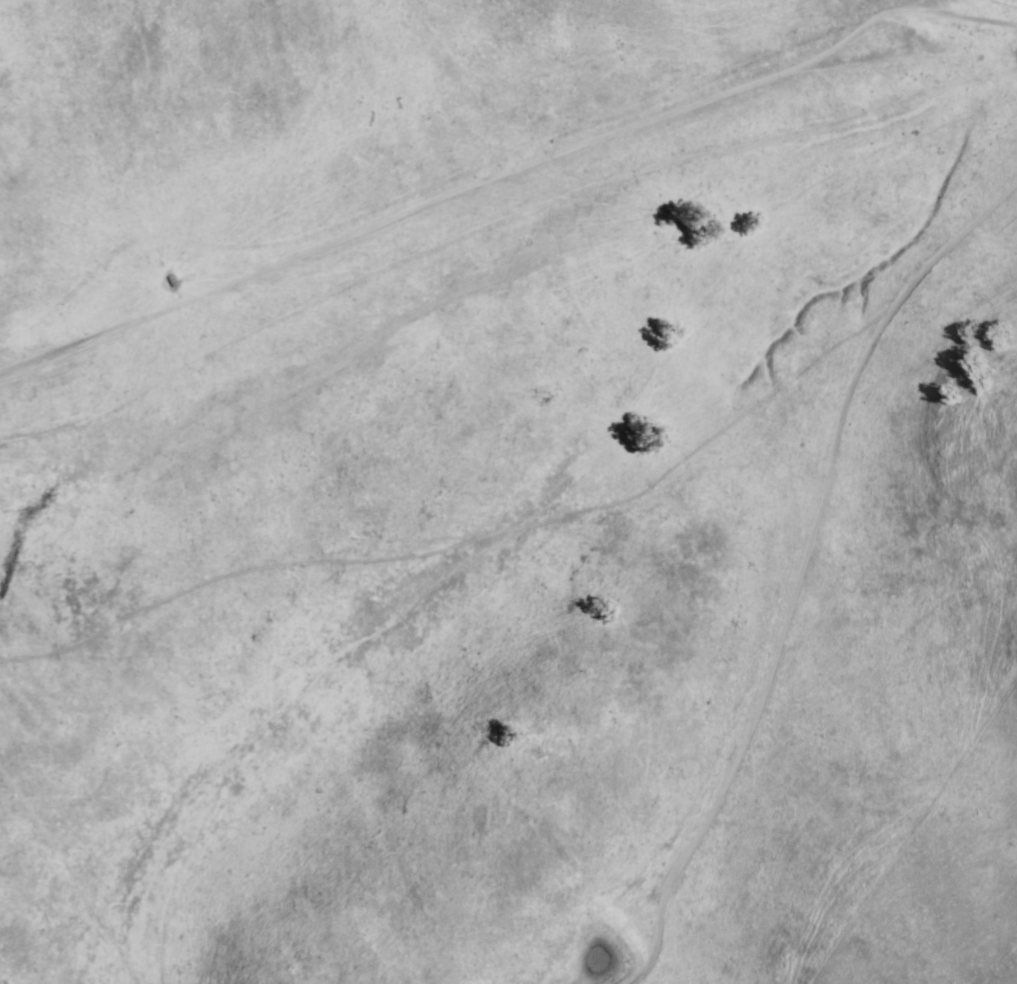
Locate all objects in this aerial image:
road: (499, 181)

